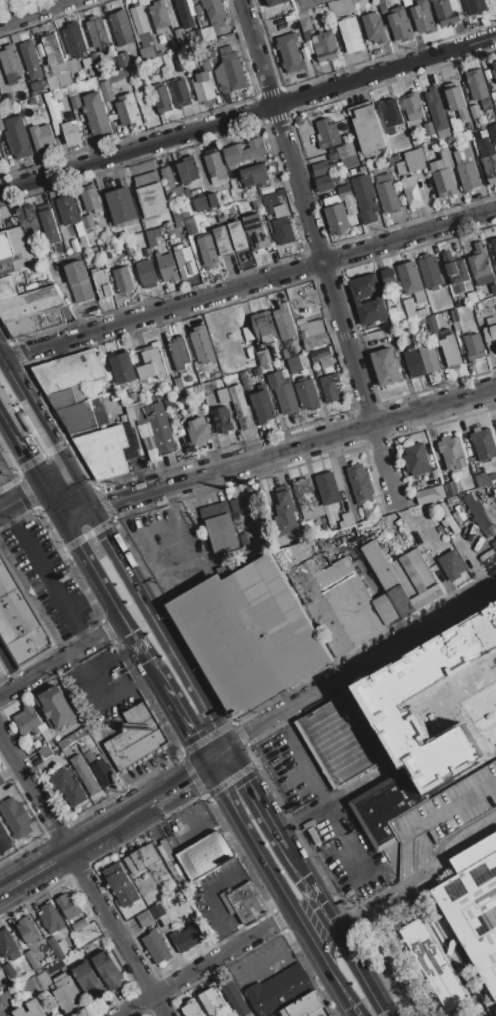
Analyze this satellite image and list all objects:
building: (195, 0)
building: (296, 0)
building: (320, 1)
building: (276, 2)
building: (407, 2)
building: (309, 3)
building: (475, 6)
building: (193, 8)
building: (340, 8)
road: (33, 11)
building: (214, 12)
building: (445, 12)
building: (184, 13)
building: (159, 16)
building: (422, 16)
building: (304, 20)
building: (140, 23)
building: (399, 24)
building: (52, 27)
building: (121, 27)
building: (374, 27)
building: (98, 33)
building: (179, 35)
building: (351, 35)
building: (75, 40)
building: (182, 44)
building: (324, 46)
building: (159, 53)
building: (290, 53)
building: (55, 58)
building: (122, 59)
building: (30, 60)
building: (93, 62)
building: (10, 63)
building: (180, 64)
building: (72, 66)
building: (494, 68)
building: (231, 71)
building: (488, 75)
building: (53, 82)
building: (477, 84)
building: (203, 85)
building: (37, 87)
building: (106, 91)
building: (180, 93)
building: (494, 95)
building: (140, 96)
building: (6, 98)
building: (161, 99)
building: (456, 99)
building: (75, 102)
building: (486, 103)
building: (413, 107)
building: (436, 109)
building: (128, 110)
building: (474, 111)
building: (54, 112)
building: (97, 115)
building: (390, 115)
road: (248, 116)
building: (1, 124)
building: (454, 126)
building: (428, 129)
building: (367, 130)
building: (72, 132)
building: (492, 132)
building: (327, 133)
building: (17, 137)
building: (42, 138)
building: (0, 150)
building: (243, 152)
building: (396, 158)
building: (488, 158)
building: (349, 160)
building: (412, 162)
building: (215, 165)
building: (325, 166)
building: (188, 169)
building: (443, 174)
building: (468, 174)
building: (255, 175)
building: (167, 176)
building: (327, 182)
building: (267, 189)
building: (411, 191)
building: (281, 192)
building: (345, 193)
building: (386, 193)
building: (151, 194)
building: (365, 198)
building: (91, 200)
building: (211, 201)
building: (257, 202)
building: (270, 202)
building: (122, 206)
building: (229, 209)
building: (68, 210)
building: (27, 218)
building: (337, 218)
building: (88, 222)
building: (49, 226)
building: (192, 228)
building: (282, 228)
building: (256, 231)
building: (238, 235)
building: (153, 236)
building: (222, 240)
building: (494, 243)
building: (5, 245)
road: (319, 246)
building: (130, 251)
building: (209, 251)
building: (123, 252)
building: (147, 252)
building: (111, 254)
building: (28, 257)
building: (185, 260)
building: (480, 261)
building: (11, 263)
building: (167, 267)
building: (430, 271)
building: (457, 272)
building: (147, 273)
building: (386, 273)
building: (123, 279)
building: (78, 281)
building: (410, 281)
road: (248, 283)
building: (10, 284)
building: (102, 284)
building: (364, 286)
building: (358, 302)
building: (30, 304)
building: (414, 310)
building: (372, 311)
building: (455, 320)
building: (40, 321)
building: (301, 321)
building: (423, 321)
building: (285, 322)
building: (264, 326)
building: (432, 327)
building: (247, 333)
building: (313, 333)
building: (491, 334)
building: (202, 344)
building: (474, 347)
building: (450, 350)
building: (288, 352)
building: (179, 354)
building: (428, 356)
building: (264, 357)
building: (322, 357)
building: (413, 362)
building: (151, 364)
building: (295, 365)
building: (386, 366)
building: (123, 368)
building: (199, 371)
building: (258, 371)
building: (69, 372)
building: (189, 379)
building: (245, 380)
building: (179, 384)
building: (331, 387)
building: (216, 389)
building: (283, 391)
building: (307, 393)
building: (139, 396)
building: (132, 397)
building: (63, 399)
building: (138, 405)
building: (263, 406)
building: (240, 407)
road: (33, 414)
building: (78, 417)
building: (221, 420)
building: (158, 426)
building: (200, 431)
building: (483, 443)
road: (21, 445)
road: (38, 446)
road: (291, 449)
building: (110, 450)
traffic signals: (25, 452)
building: (452, 452)
road: (41, 454)
building: (416, 459)
building: (491, 476)
road: (54, 477)
building: (434, 477)
building: (360, 484)
building: (328, 488)
road: (76, 489)
building: (450, 489)
building: (425, 495)
road: (23, 496)
road: (51, 498)
traffic signals: (18, 499)
traffic signals: (114, 499)
building: (306, 499)
road: (1, 507)
road: (73, 510)
building: (371, 512)
building: (478, 513)
building: (287, 515)
building: (346, 519)
building: (447, 519)
building: (220, 527)
traffic signals: (103, 537)
building: (245, 540)
building: (494, 545)
parking lot: (170, 548)
road: (91, 566)
building: (452, 566)
road: (44, 575)
building: (363, 594)
road: (84, 597)
building: (20, 620)
road: (156, 627)
building: (248, 634)
building: (428, 650)
road: (142, 653)
road: (61, 658)
building: (472, 658)
road: (359, 664)
road: (10, 666)
building: (448, 676)
building: (56, 707)
building: (138, 714)
building: (31, 722)
road: (183, 724)
building: (135, 733)
building: (351, 734)
building: (73, 737)
road: (299, 746)
traffic signals: (225, 748)
building: (140, 749)
building: (45, 751)
road: (216, 756)
building: (455, 761)
traffic signals: (207, 764)
building: (101, 768)
building: (85, 774)
building: (1, 781)
road: (177, 785)
building: (68, 787)
road: (253, 798)
building: (450, 806)
parking lot: (450, 806)
building: (386, 807)
road: (130, 813)
building: (16, 817)
road: (91, 836)
road: (249, 838)
building: (4, 841)
building: (168, 854)
building: (206, 855)
building: (141, 859)
road: (37, 869)
road: (85, 874)
road: (413, 876)
building: (118, 880)
road: (2, 889)
building: (227, 902)
building: (246, 902)
building: (68, 905)
building: (473, 906)
building: (151, 915)
building: (51, 917)
building: (80, 925)
building: (28, 930)
road: (334, 932)
building: (188, 937)
building: (8, 945)
building: (58, 946)
building: (156, 947)
road: (267, 958)
building: (33, 959)
road: (205, 963)
road: (325, 963)
building: (435, 963)
building: (55, 966)
building: (107, 970)
building: (10, 972)
building: (86, 975)
building: (43, 979)
building: (279, 991)
building: (70, 996)
building: (6, 998)
building: (235, 998)
building: (212, 1000)
building: (1, 1006)
building: (303, 1006)
building: (32, 1009)
building: (192, 1009)
building: (320, 1012)
road: (383, 1015)

